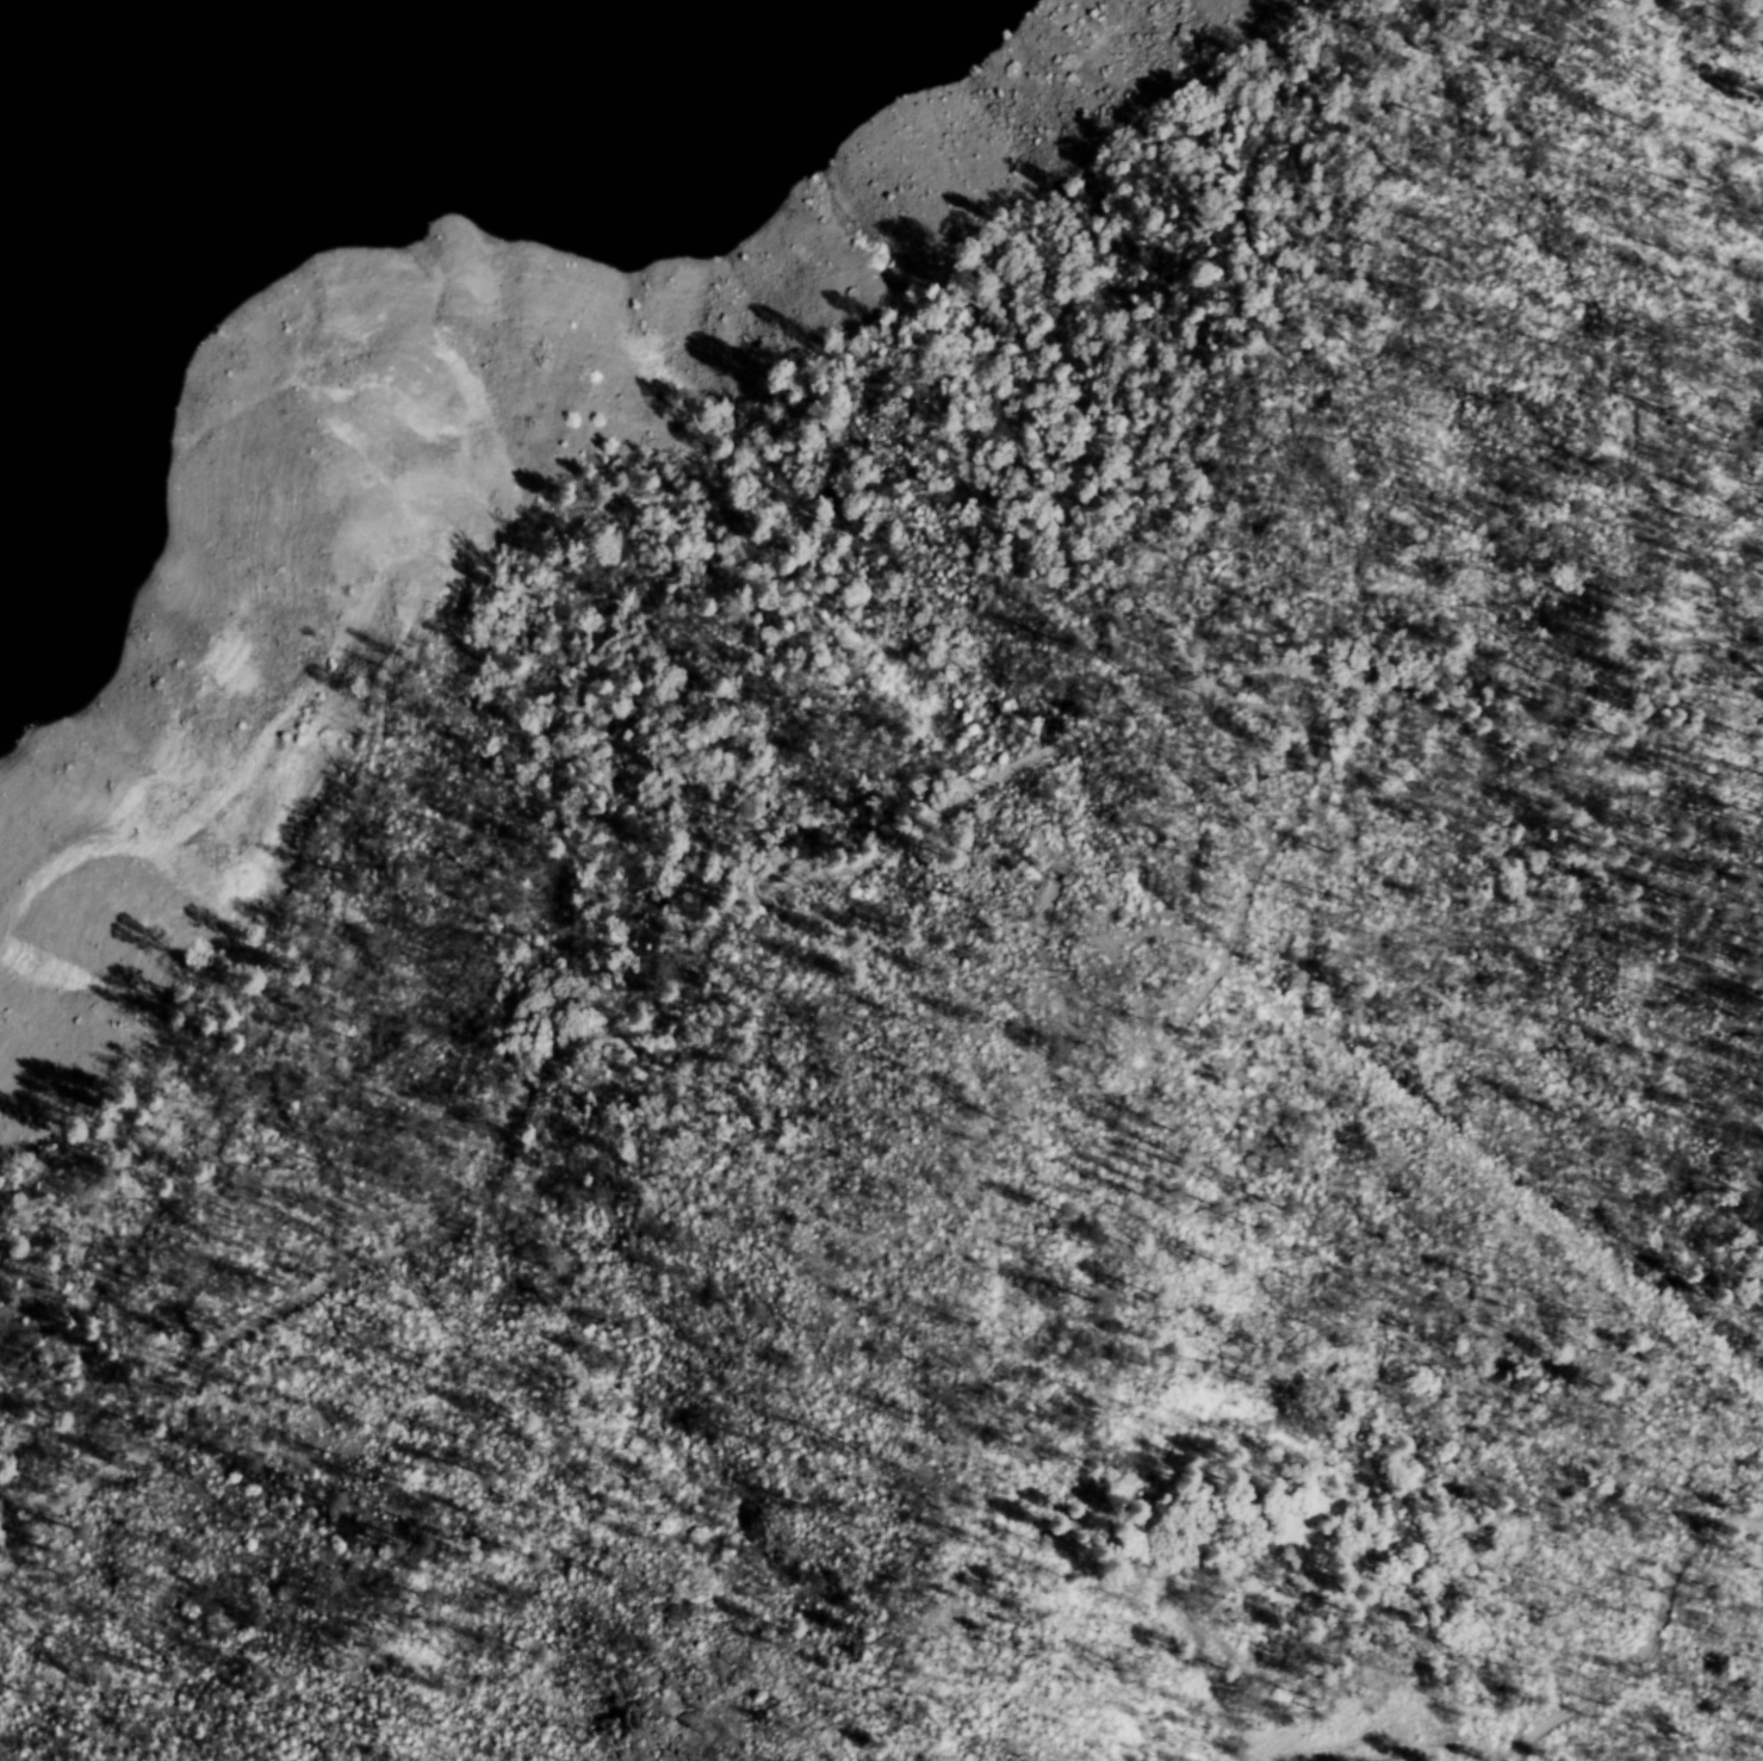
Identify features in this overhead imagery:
river: (116, 85)
road: (758, 792)
road: (204, 1058)
road: (1644, 1647)

